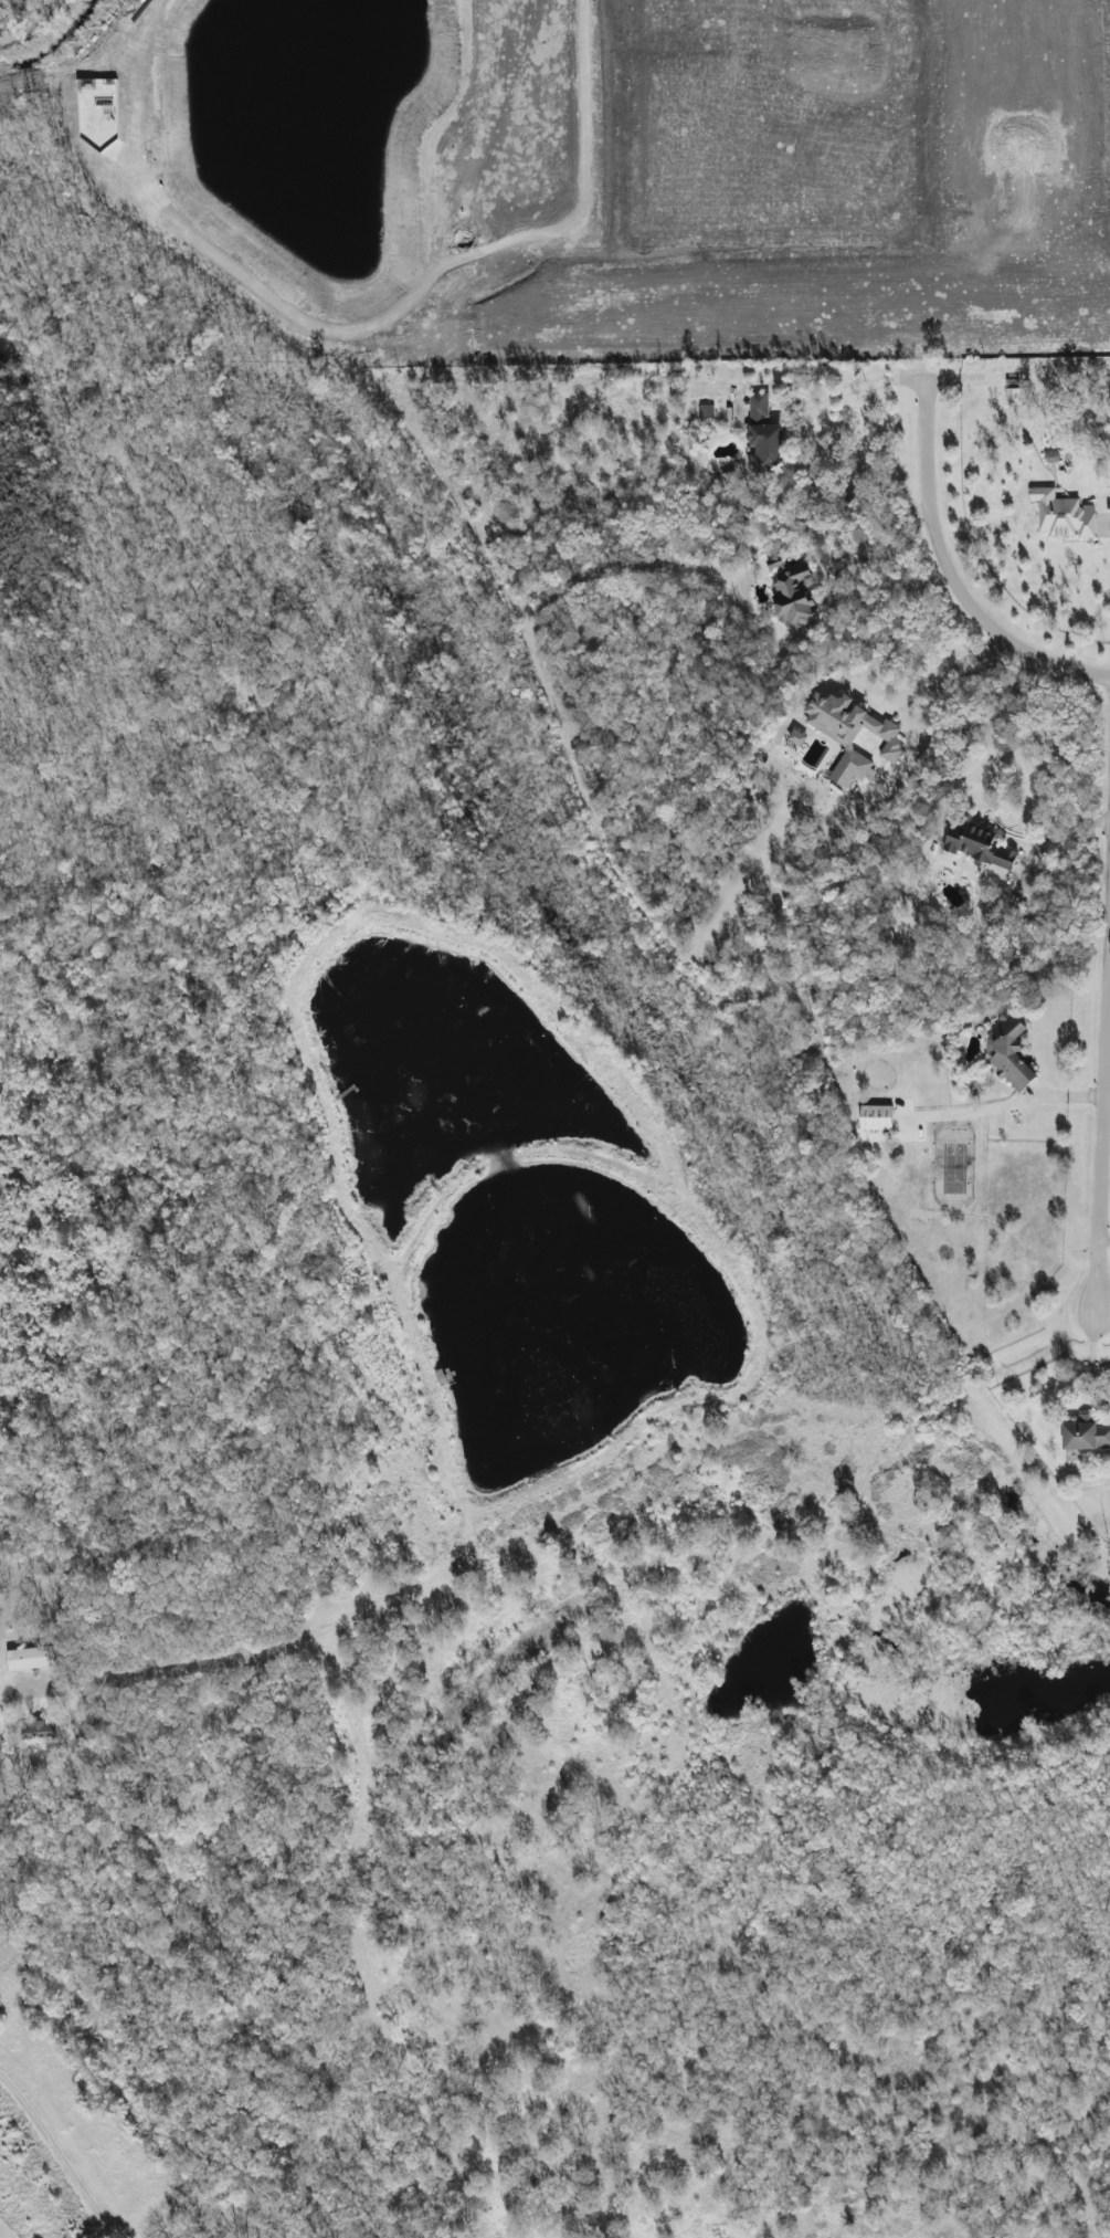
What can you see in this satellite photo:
road: (457, 262)
road: (972, 377)
road: (847, 389)
building: (1017, 397)
building: (707, 411)
building: (765, 437)
building: (1064, 515)
road: (877, 535)
road: (945, 575)
road: (947, 666)
building: (853, 735)
building: (796, 738)
building: (980, 845)
road: (1038, 845)
building: (1013, 1059)
road: (1101, 1081)
building: (877, 1117)
road: (1103, 1241)
road: (1089, 1359)
building: (1087, 1435)
building: (33, 1658)
road: (20, 1689)
building: (40, 1731)
road: (62, 2155)

